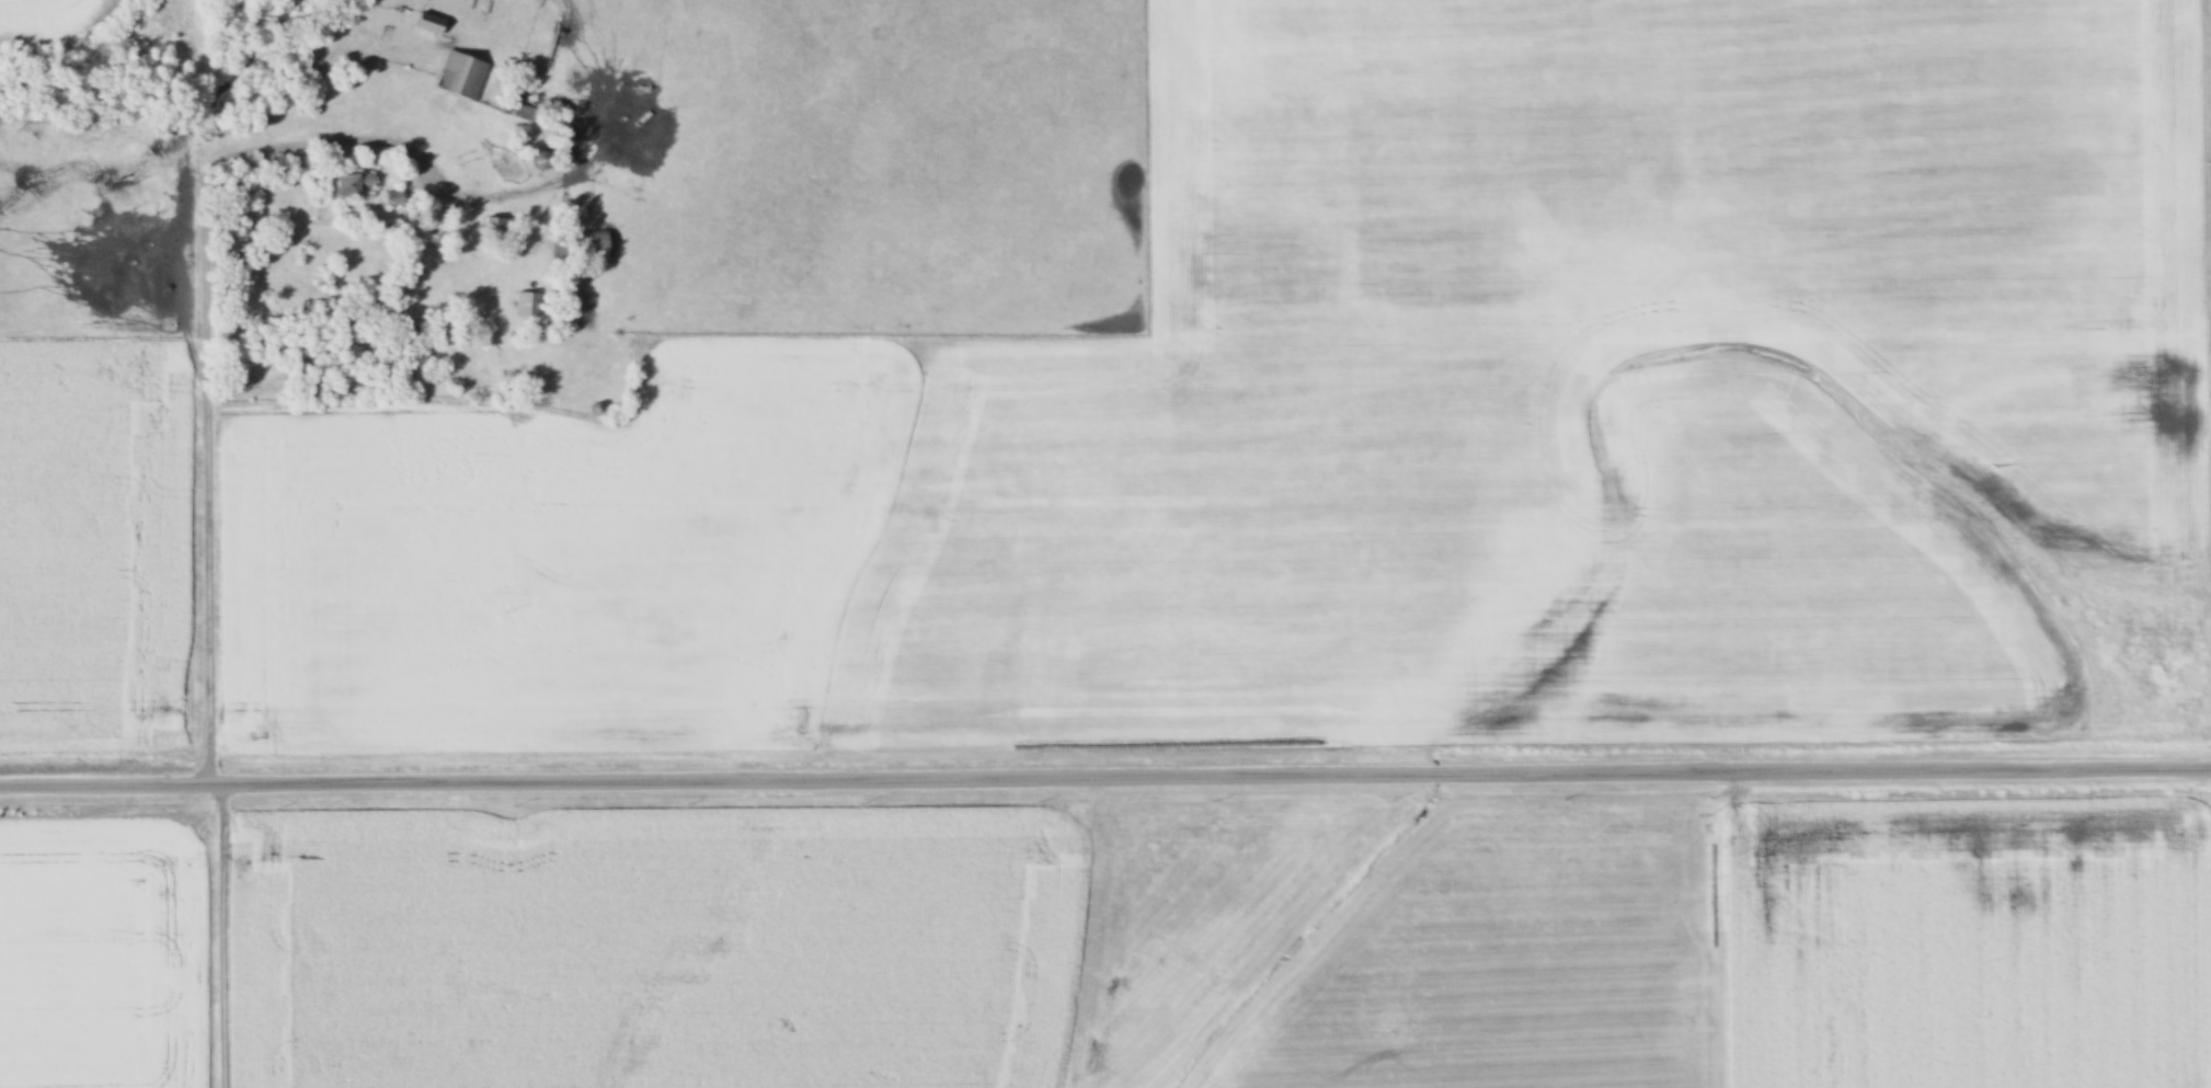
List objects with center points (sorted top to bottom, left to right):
building: (429, 24)
building: (461, 77)
building: (353, 186)
building: (496, 228)
building: (580, 245)
building: (527, 306)
road: (204, 402)
road: (1104, 780)
road: (224, 937)

